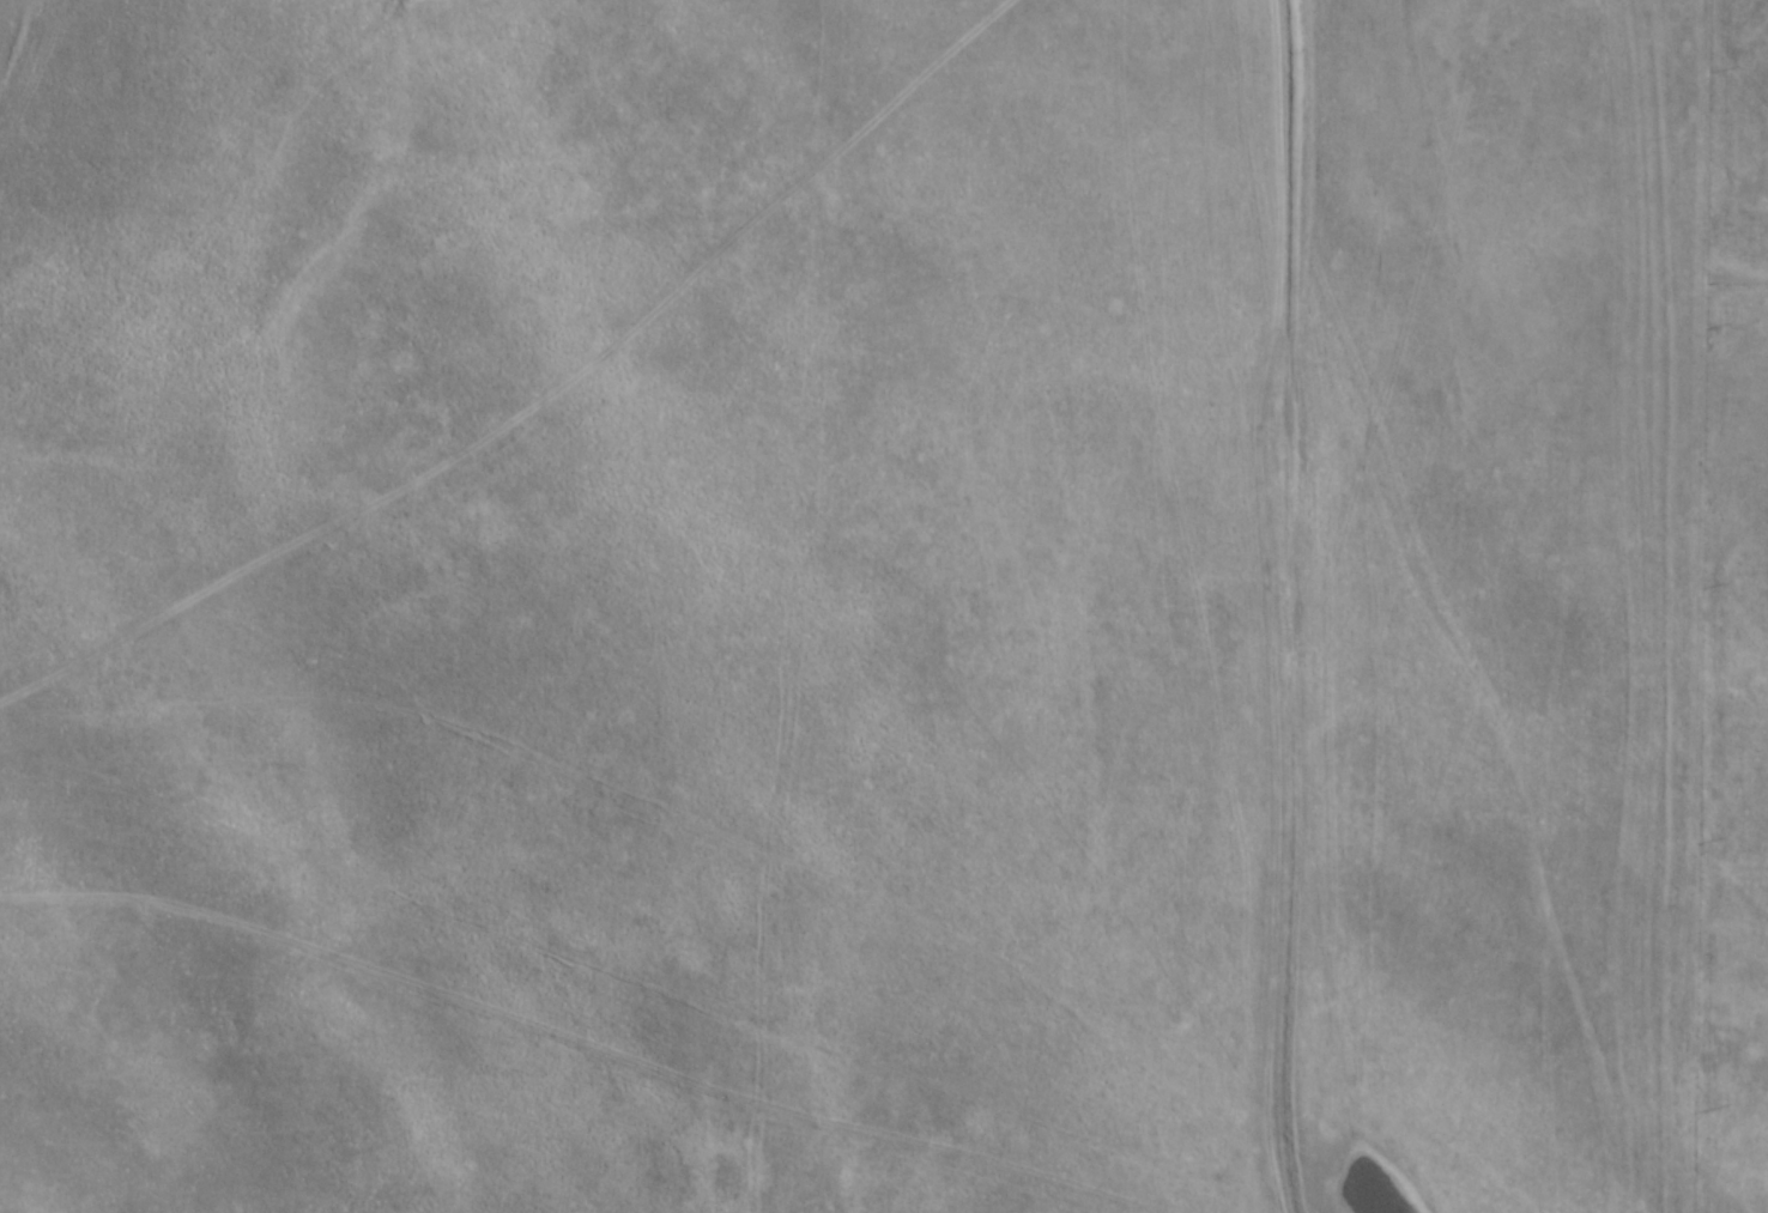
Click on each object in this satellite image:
road: (1308, 199)
road: (1274, 606)

